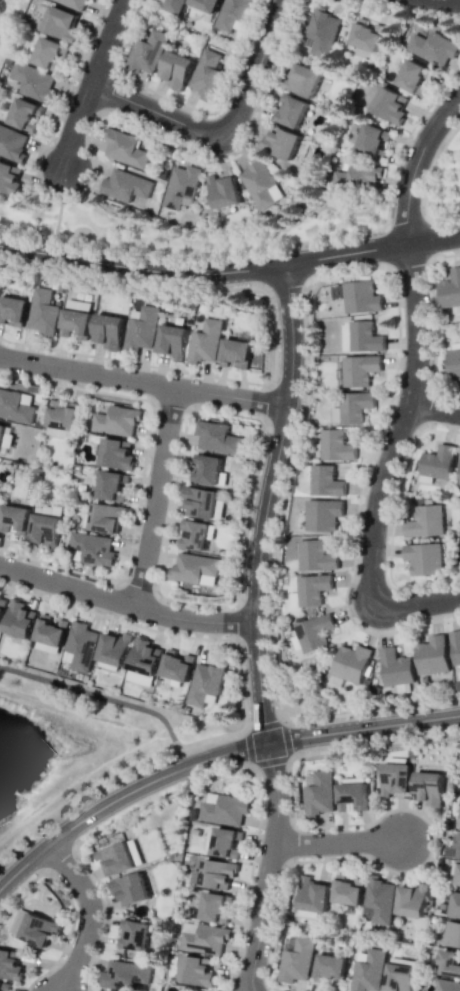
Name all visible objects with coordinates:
building: (88, 0)
road: (456, 0)
building: (73, 4)
building: (172, 5)
building: (206, 5)
building: (234, 13)
building: (59, 24)
building: (322, 31)
building: (365, 36)
building: (434, 48)
building: (147, 52)
building: (47, 54)
building: (176, 70)
building: (207, 75)
building: (412, 75)
building: (302, 79)
building: (33, 81)
road: (89, 82)
building: (388, 105)
building: (291, 110)
street lamp: (213, 114)
building: (23, 115)
street lamp: (128, 118)
road: (222, 130)
street lamp: (409, 136)
building: (372, 139)
building: (280, 142)
building: (12, 144)
building: (125, 148)
road: (451, 153)
road: (414, 163)
building: (357, 176)
building: (9, 179)
park: (444, 181)
building: (125, 185)
building: (260, 185)
building: (181, 186)
street lamp: (85, 189)
building: (223, 191)
street lamp: (369, 232)
road: (371, 248)
street lamp: (442, 253)
road: (140, 268)
building: (450, 289)
building: (336, 291)
building: (361, 297)
building: (13, 310)
building: (42, 312)
building: (75, 322)
building: (140, 328)
building: (106, 330)
street lamp: (276, 332)
building: (364, 337)
building: (171, 340)
building: (204, 342)
building: (235, 353)
building: (453, 363)
building: (357, 370)
street lamp: (50, 380)
road: (143, 380)
street lamp: (394, 389)
street lamp: (302, 404)
building: (15, 407)
building: (352, 407)
road: (433, 409)
building: (61, 419)
building: (116, 421)
road: (399, 422)
building: (217, 438)
building: (335, 445)
building: (116, 454)
building: (436, 464)
building: (205, 469)
street lamp: (255, 479)
street lamp: (173, 480)
building: (325, 481)
building: (111, 485)
street lamp: (394, 494)
road: (154, 496)
building: (201, 502)
road: (265, 502)
building: (322, 514)
building: (104, 518)
building: (13, 519)
building: (425, 521)
building: (45, 525)
building: (196, 535)
street lamp: (133, 538)
building: (93, 548)
building: (313, 555)
building: (423, 558)
street lamp: (272, 562)
building: (193, 567)
building: (310, 590)
street lamp: (346, 598)
road: (125, 604)
road: (418, 604)
building: (2, 607)
street lamp: (270, 617)
building: (19, 619)
street lamp: (138, 623)
building: (50, 632)
building: (314, 632)
building: (79, 646)
building: (455, 646)
building: (113, 648)
building: (432, 655)
building: (142, 662)
building: (350, 663)
building: (176, 665)
building: (395, 666)
building: (205, 683)
road: (96, 695)
street lamp: (275, 699)
road: (363, 727)
street lamp: (305, 751)
building: (395, 779)
building: (428, 787)
road: (122, 794)
building: (352, 797)
building: (226, 808)
street lamp: (109, 819)
building: (459, 824)
street lamp: (259, 830)
road: (336, 842)
building: (225, 843)
building: (454, 850)
building: (134, 852)
street lamp: (335, 857)
building: (115, 858)
road: (268, 866)
building: (218, 874)
building: (458, 877)
street lamp: (97, 885)
building: (130, 889)
building: (346, 891)
building: (312, 895)
building: (377, 900)
building: (410, 901)
building: (454, 904)
building: (213, 907)
road: (89, 913)
street lamp: (274, 914)
building: (38, 930)
building: (451, 934)
building: (134, 935)
building: (203, 938)
street lamp: (62, 955)
building: (295, 961)
building: (448, 963)
building: (10, 964)
building: (329, 968)
building: (195, 971)
building: (366, 971)
building: (124, 975)
building: (397, 977)
building: (446, 985)
building: (4, 986)
building: (198, 990)
street lamp: (224, 990)
road: (252, 990)

